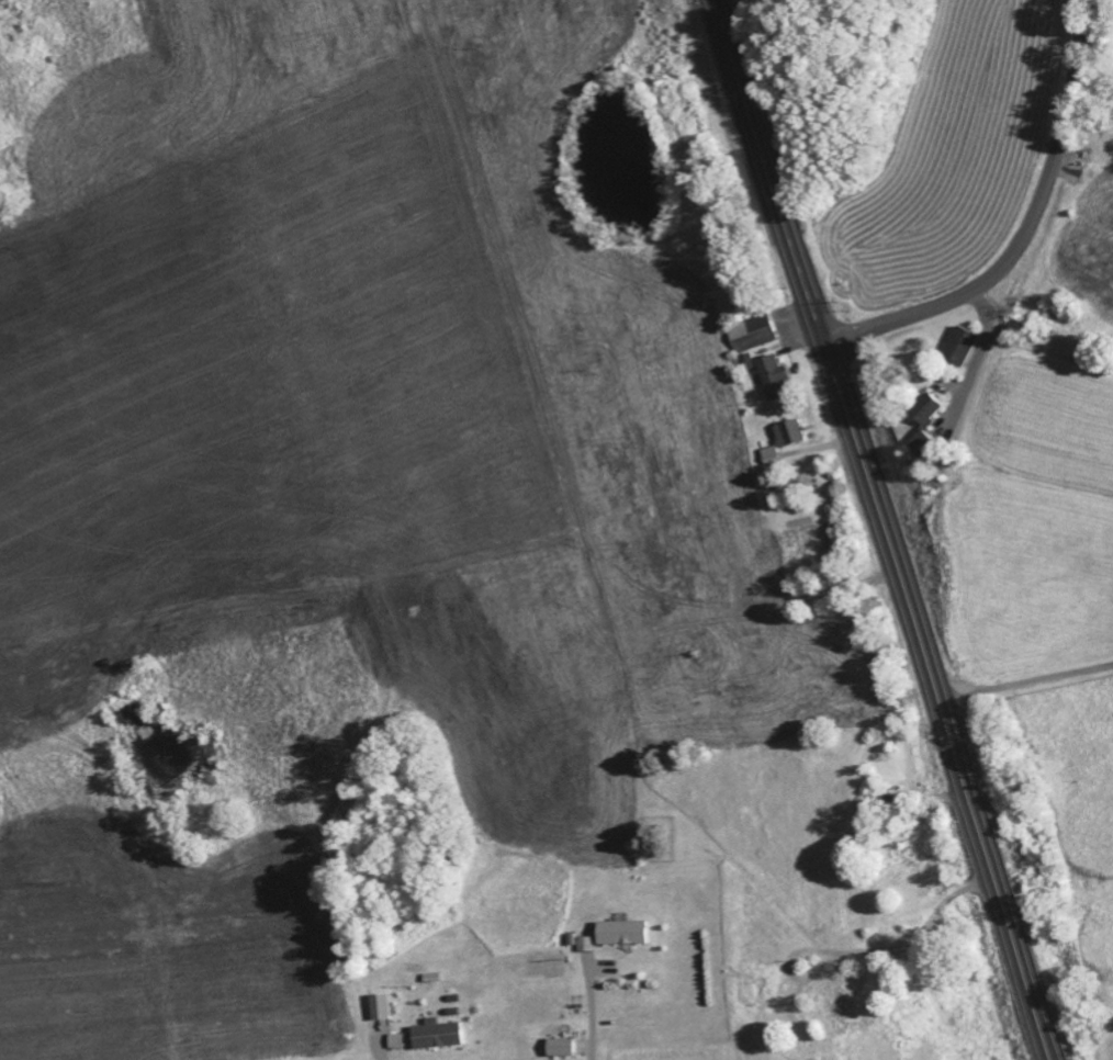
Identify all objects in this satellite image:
road: (1027, 230)
building: (761, 332)
building: (969, 343)
building: (782, 376)
building: (791, 439)
building: (930, 439)
road: (884, 530)
road: (1025, 683)
building: (631, 932)
building: (593, 944)
road: (866, 950)
building: (390, 1006)
building: (448, 1034)
building: (404, 1040)
building: (571, 1046)

